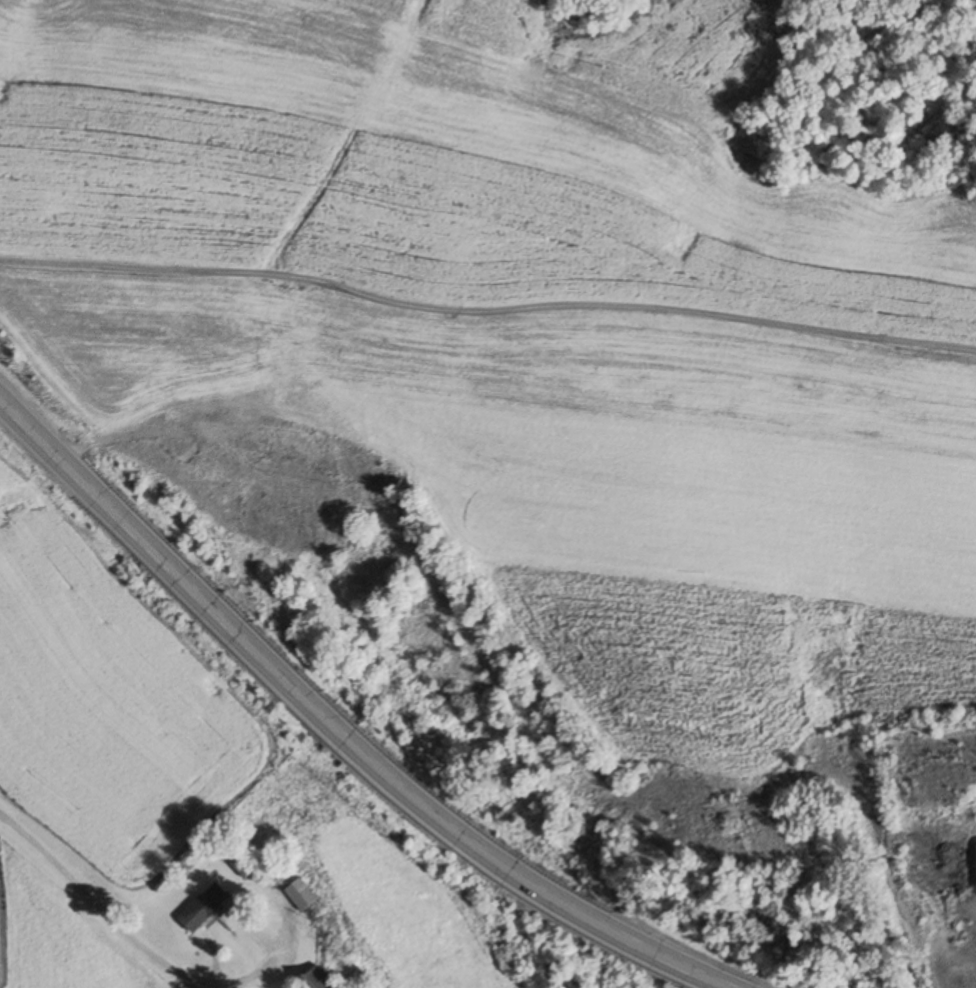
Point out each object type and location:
road: (338, 733)
building: (240, 860)
building: (301, 894)
building: (204, 908)
road: (114, 923)
building: (319, 980)

